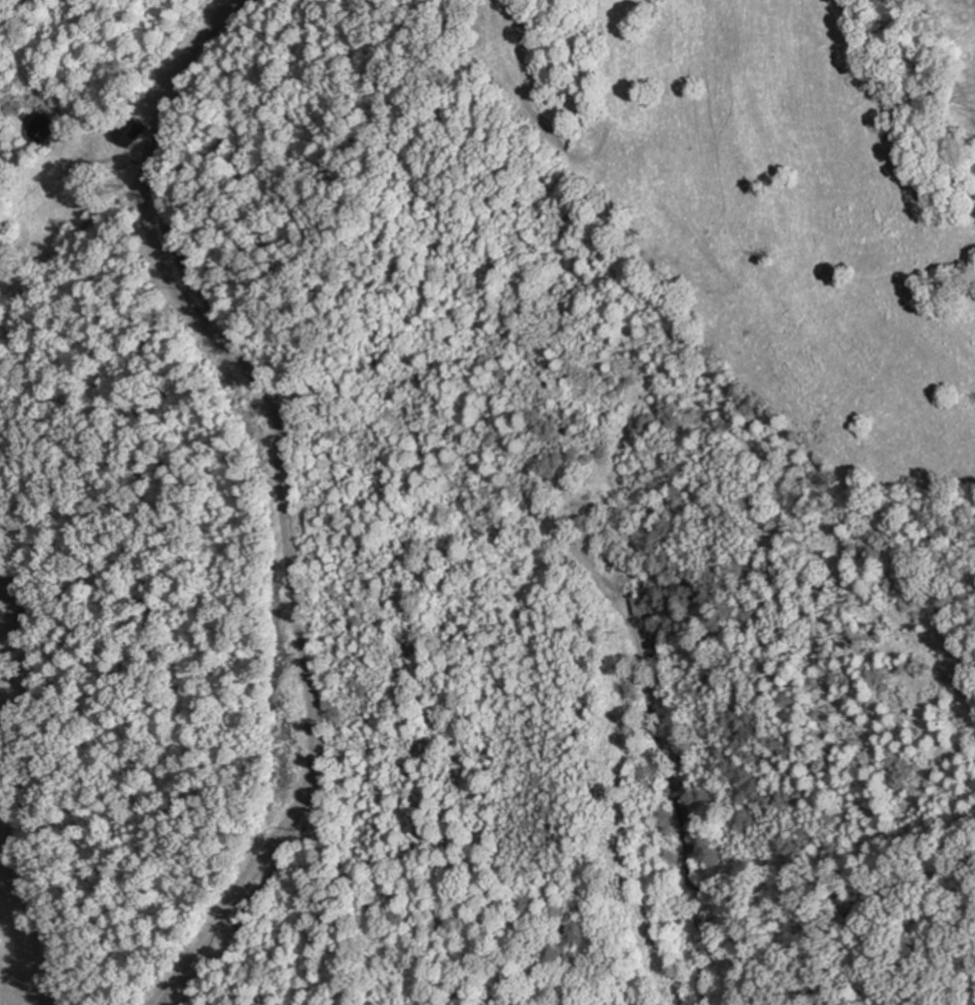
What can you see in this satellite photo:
building: (129, 130)
road: (27, 349)
building: (640, 605)
road: (702, 757)

